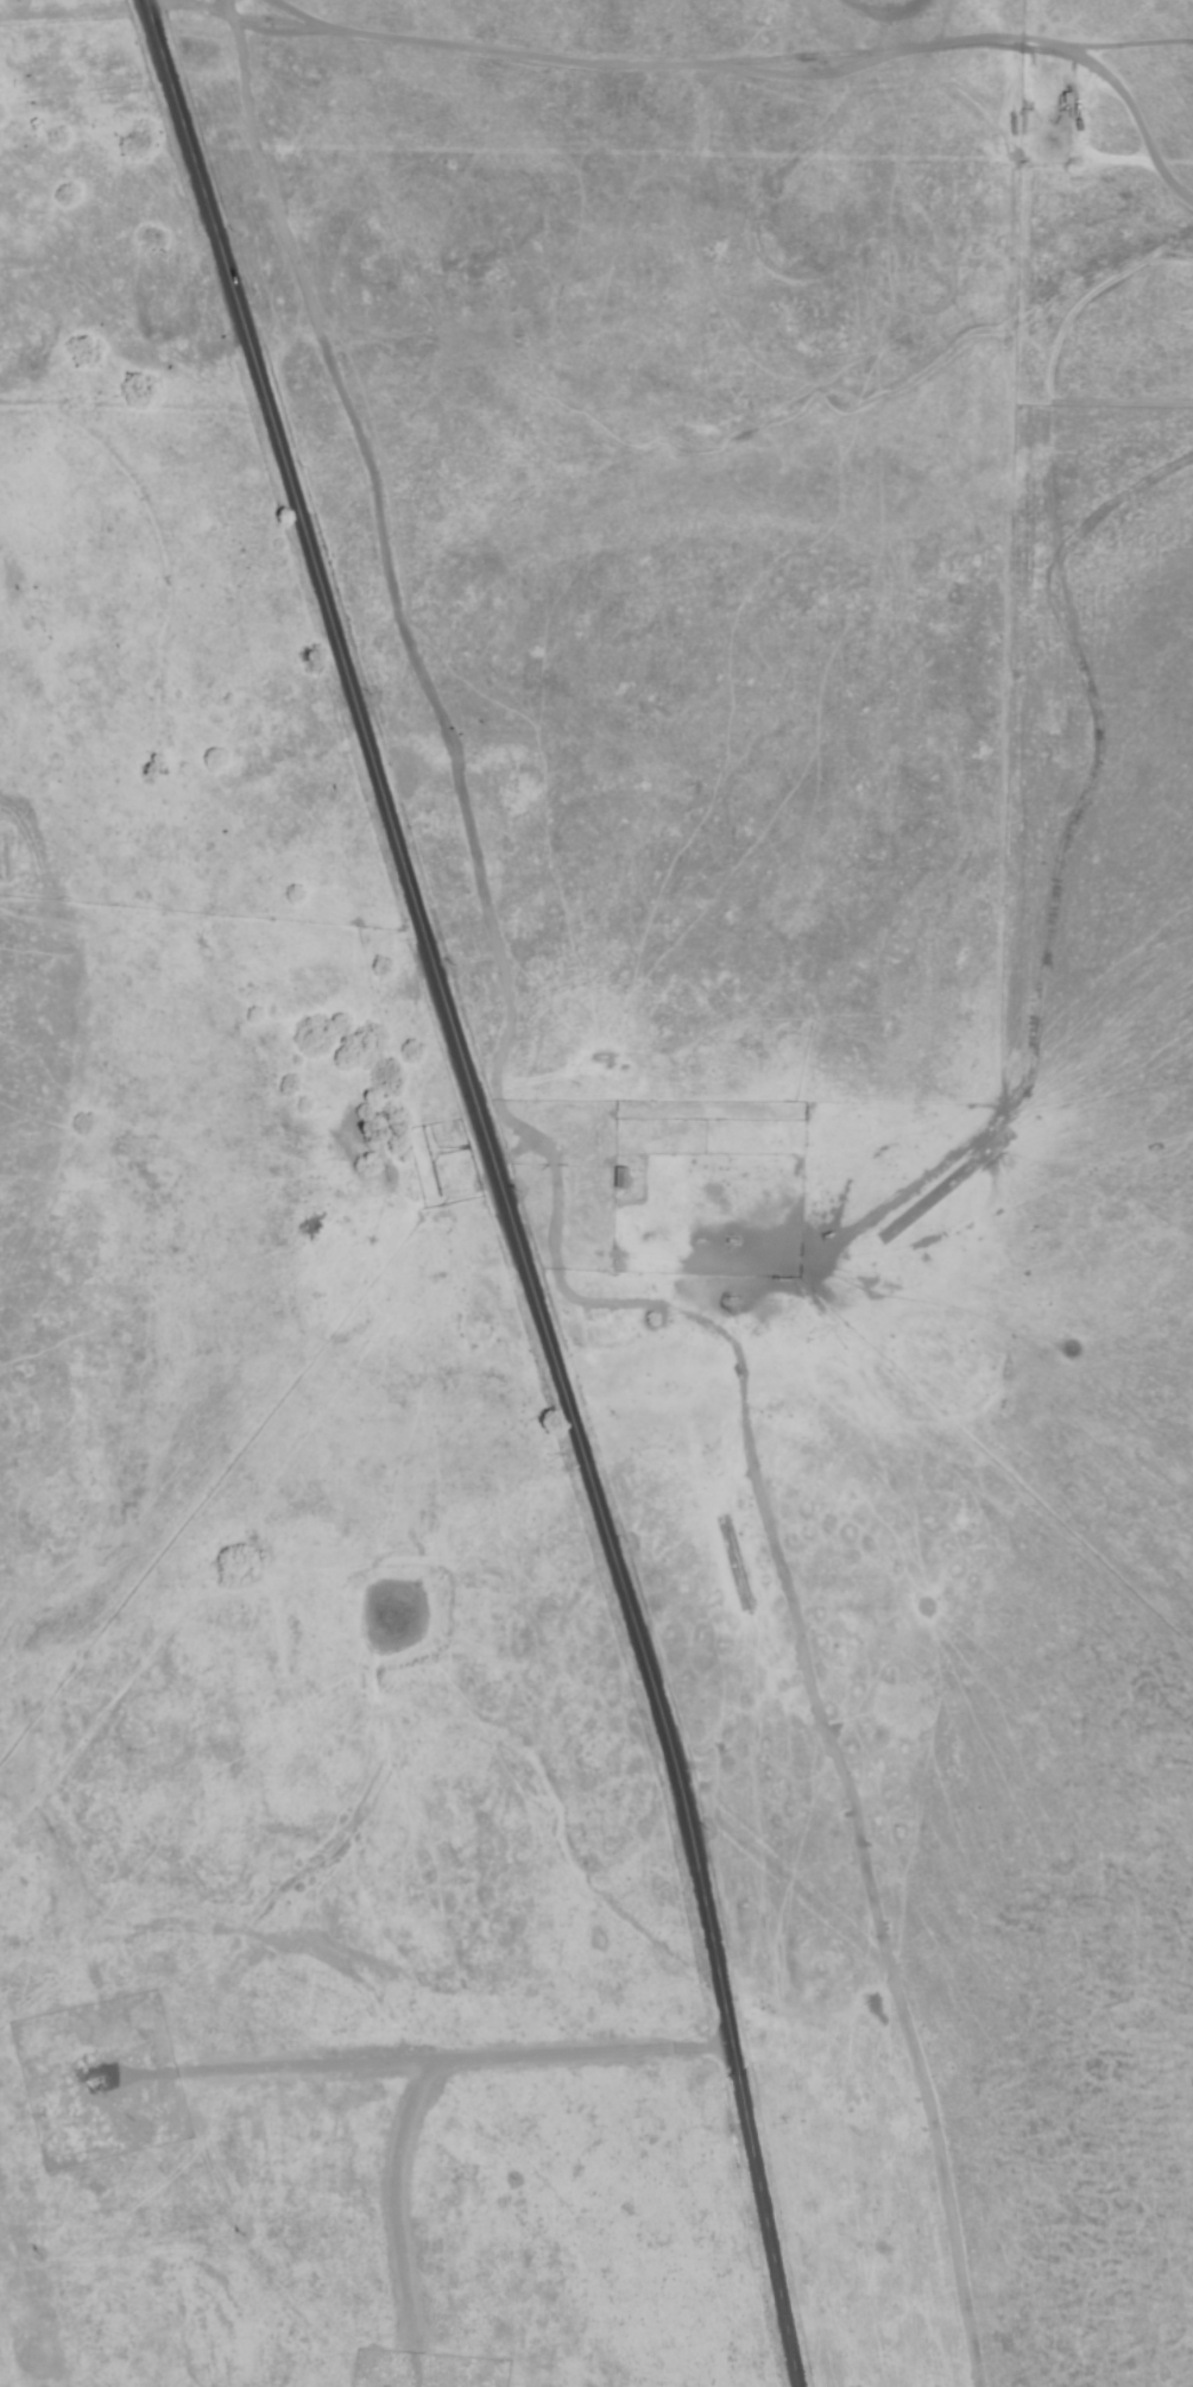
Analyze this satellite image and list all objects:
road: (499, 1185)
crop: (596, 1193)

